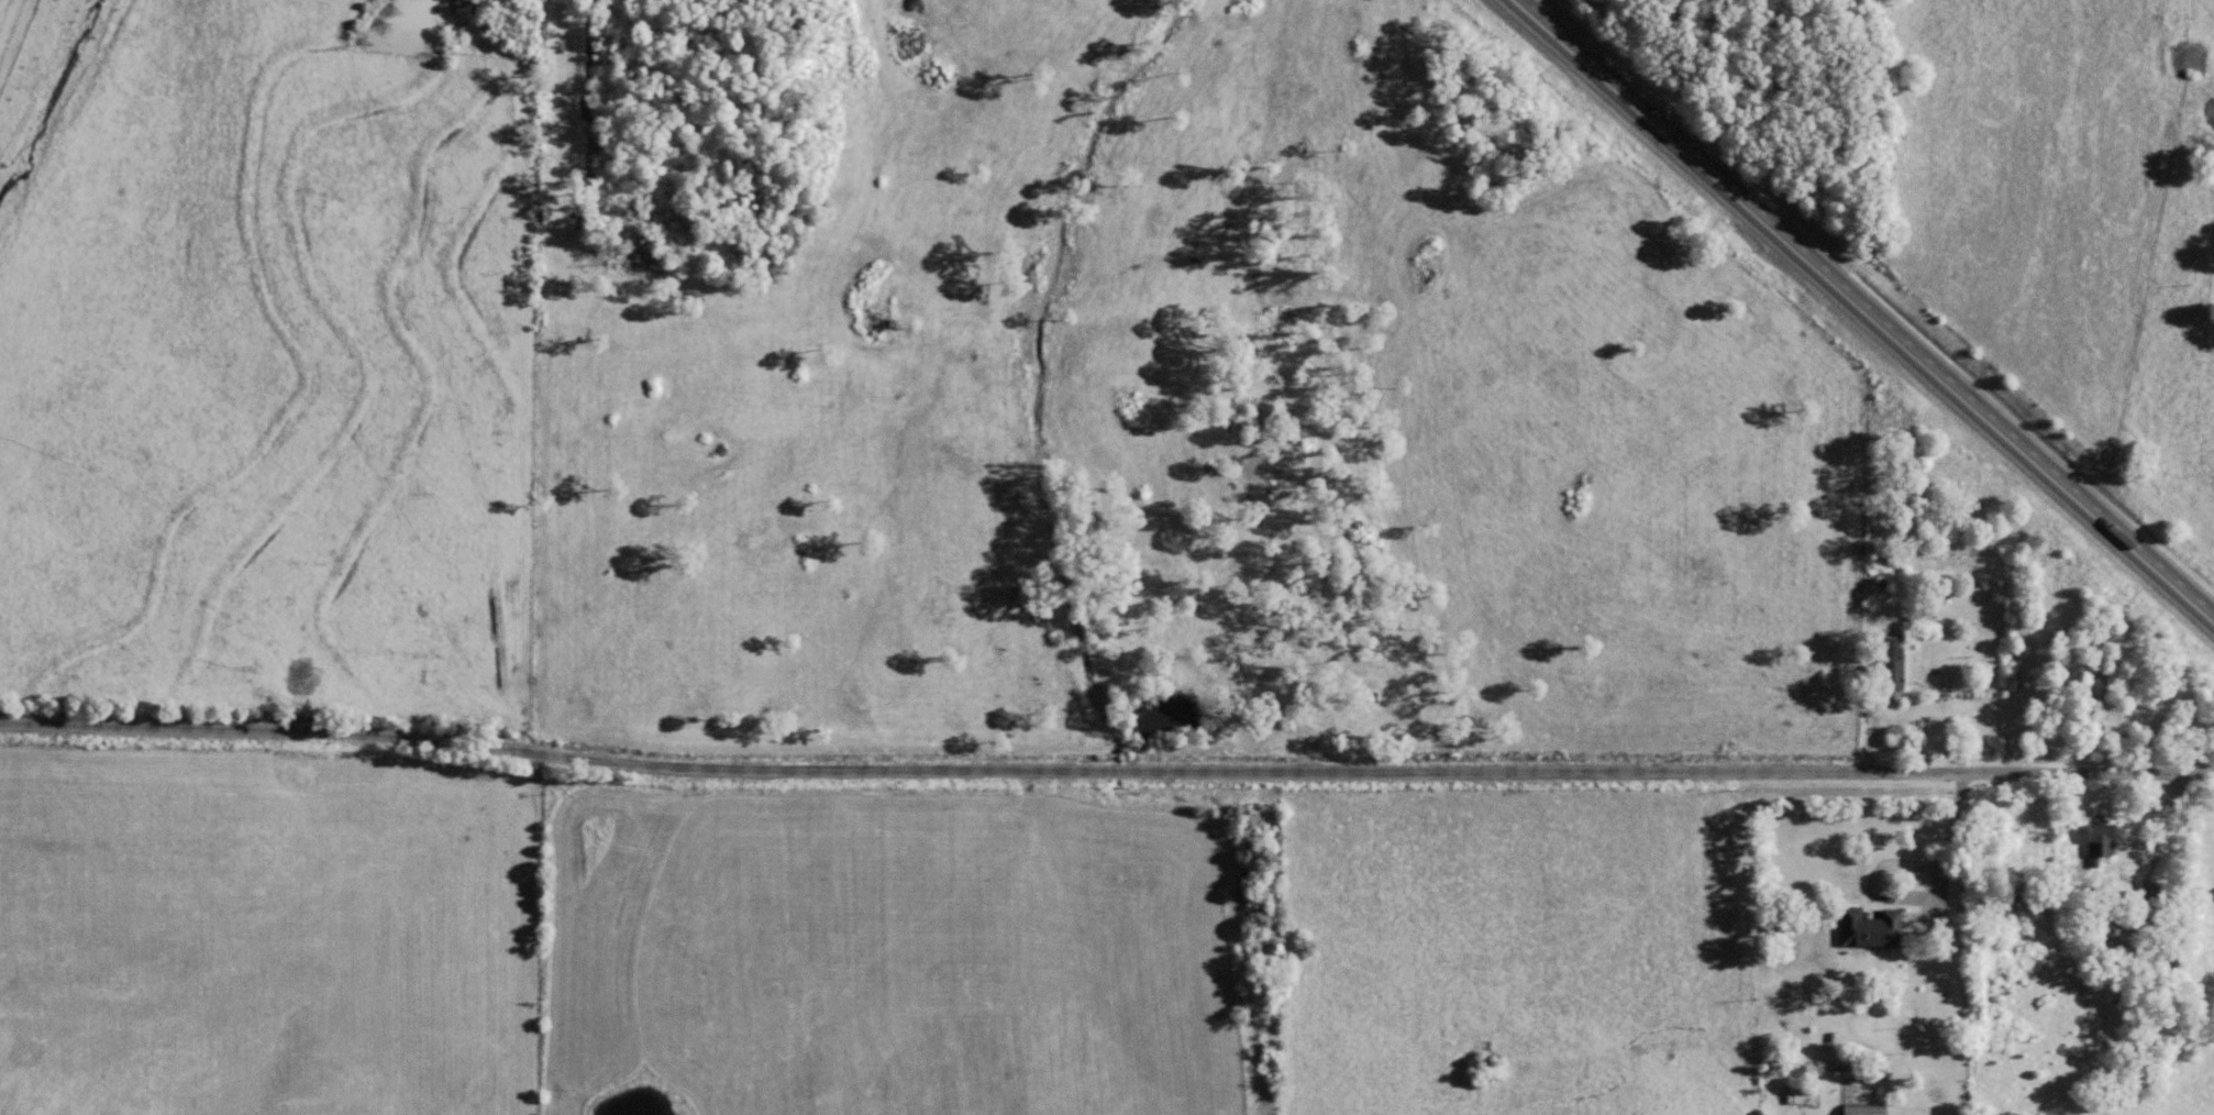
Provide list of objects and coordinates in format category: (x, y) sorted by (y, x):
road: (1866, 308)
building: (1891, 671)
road: (1106, 768)
building: (2099, 848)
building: (1874, 934)
building: (1801, 1099)
building: (1863, 1114)

